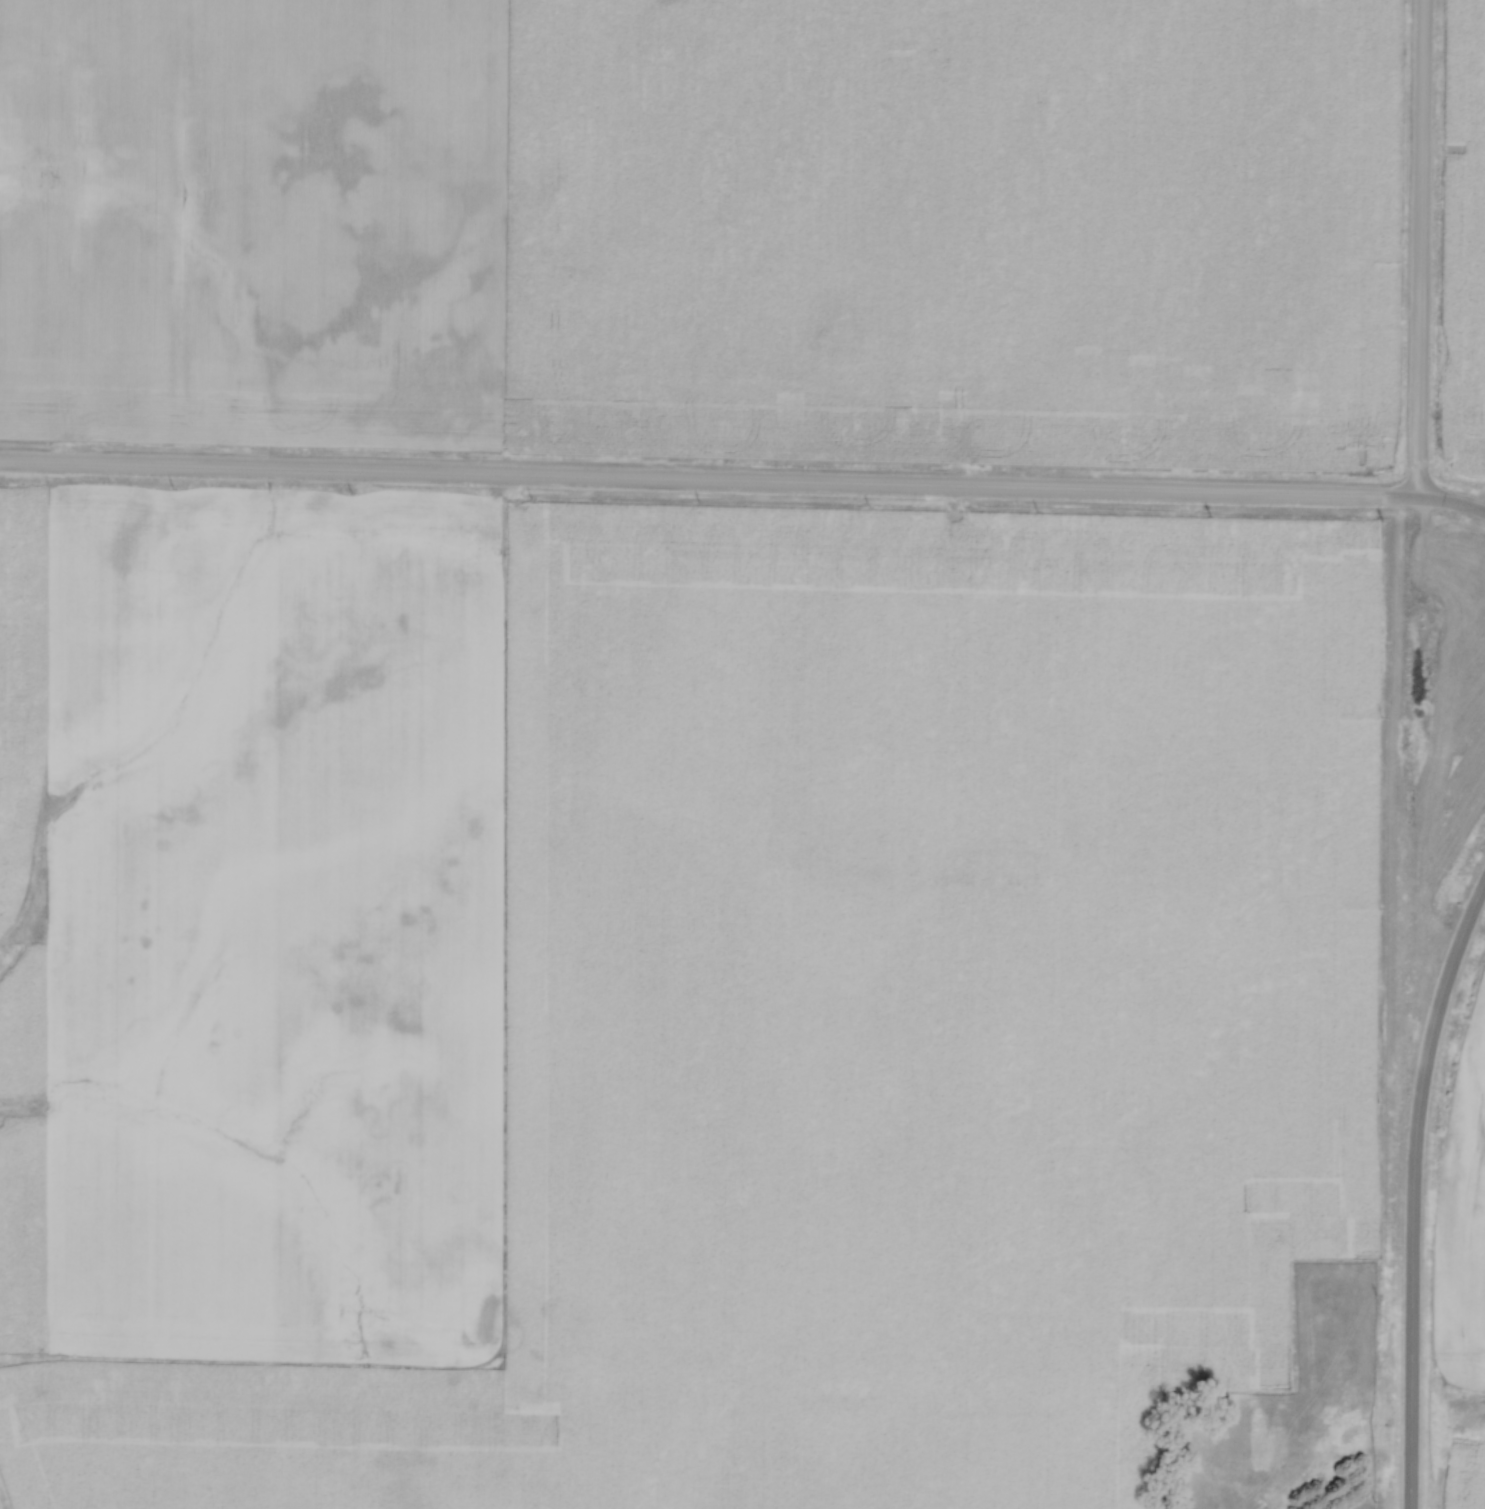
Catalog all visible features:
road: (1421, 248)
road: (742, 482)
road: (1415, 1190)
crop: (1466, 1224)

